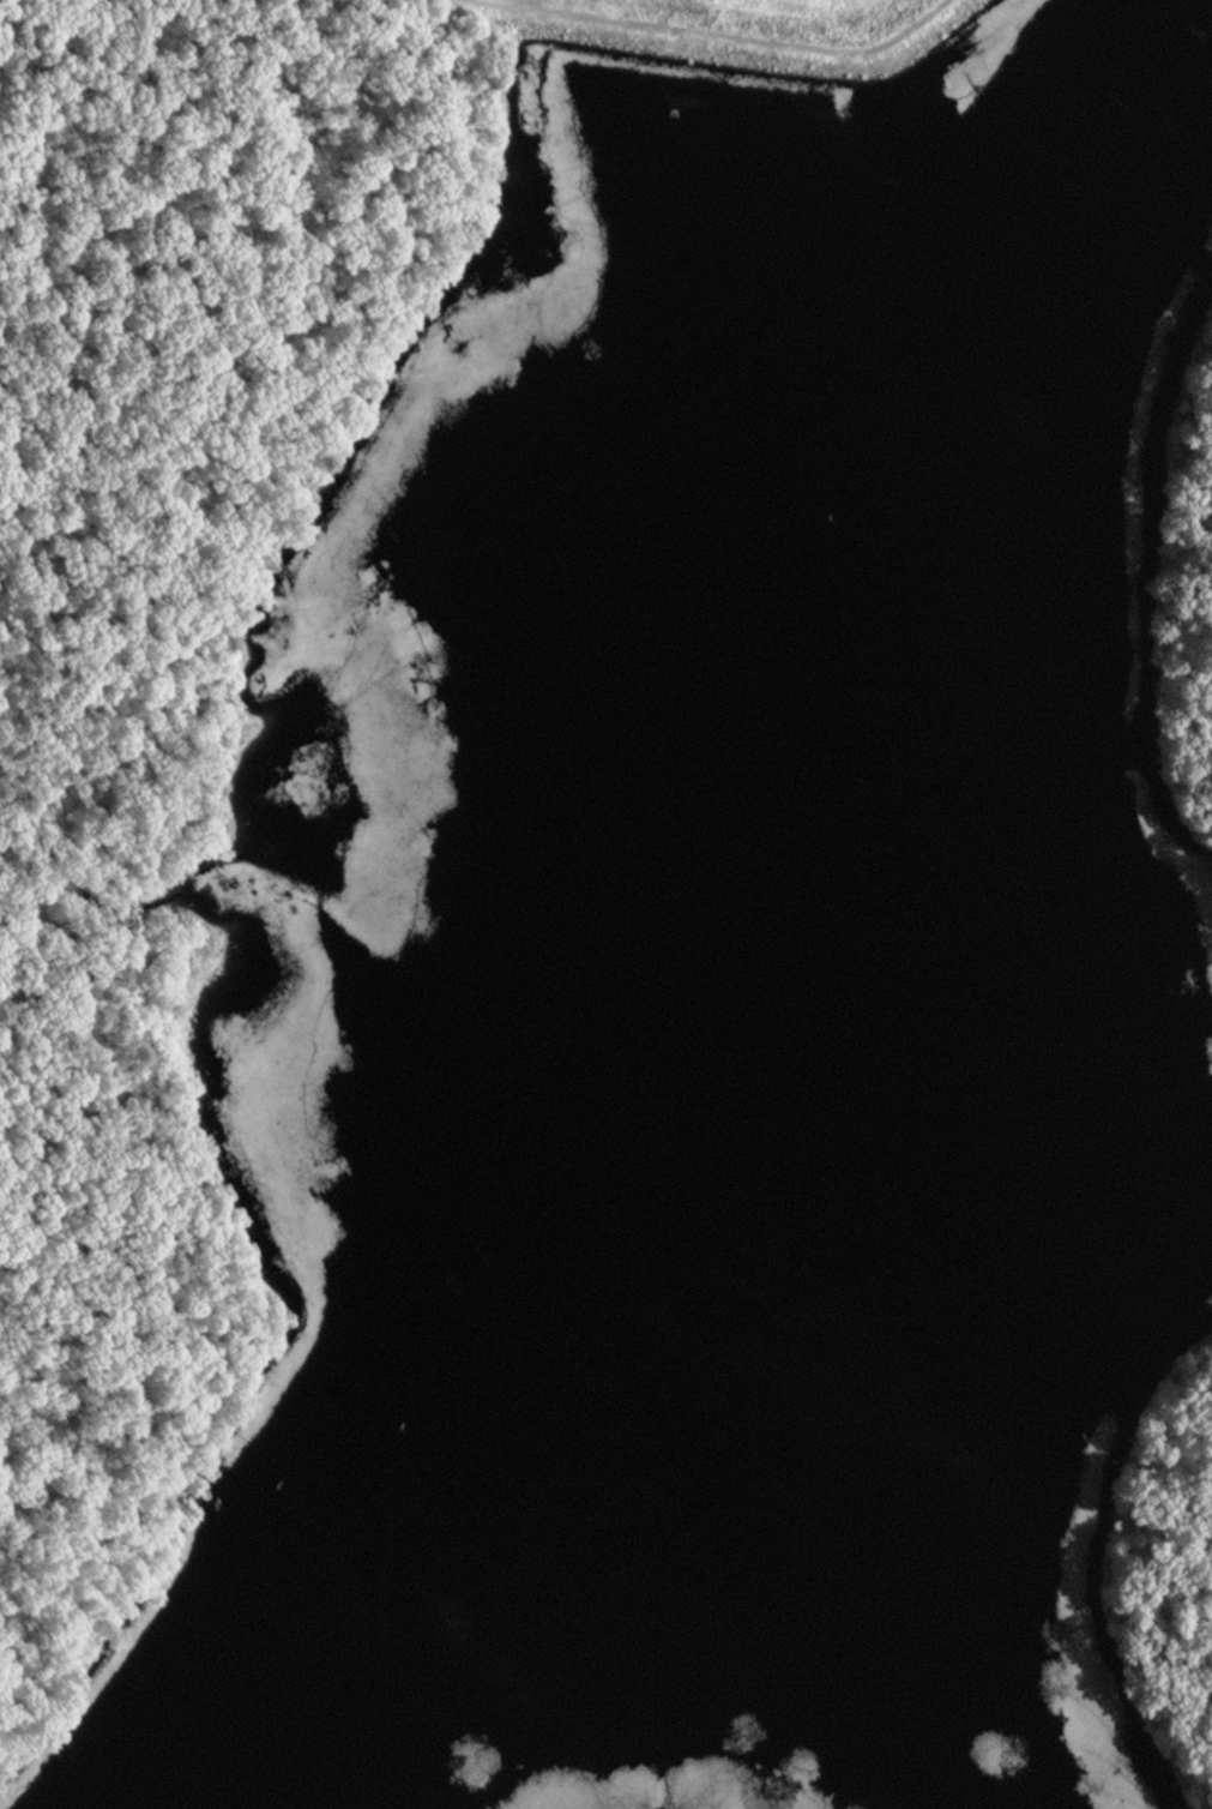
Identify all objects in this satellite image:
road: (705, 28)
dam: (771, 72)
road: (150, 138)
road: (72, 1420)

